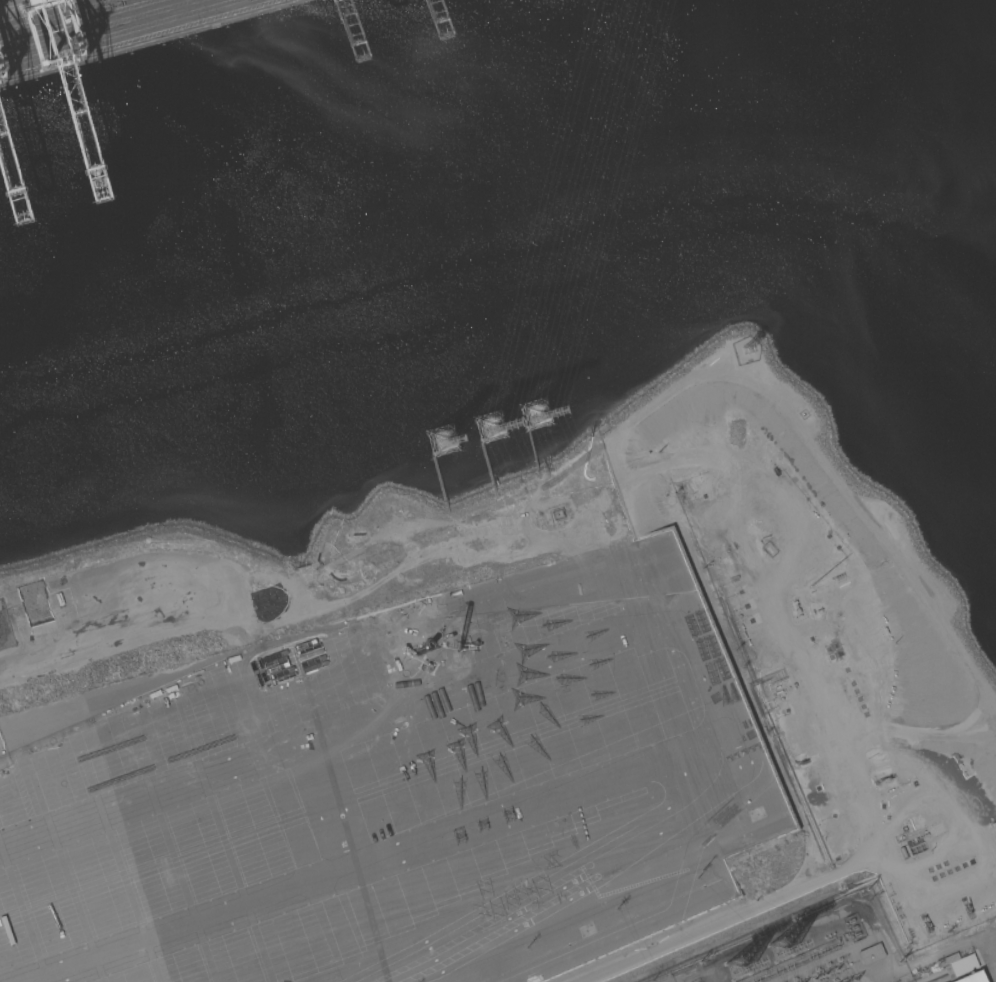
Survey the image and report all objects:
railway: (103, 29)
pier: (106, 29)
power tower: (536, 414)
power tower: (492, 428)
petroleum well: (774, 470)
power tower: (407, 631)
petroleum well: (802, 762)
petroleum well: (883, 779)
petroleum well: (968, 906)
petroleum well: (925, 924)
power plant: (829, 947)
power substation: (811, 949)
power tower: (781, 950)
building: (871, 954)
building: (957, 964)
power tower: (739, 971)
building: (972, 977)

